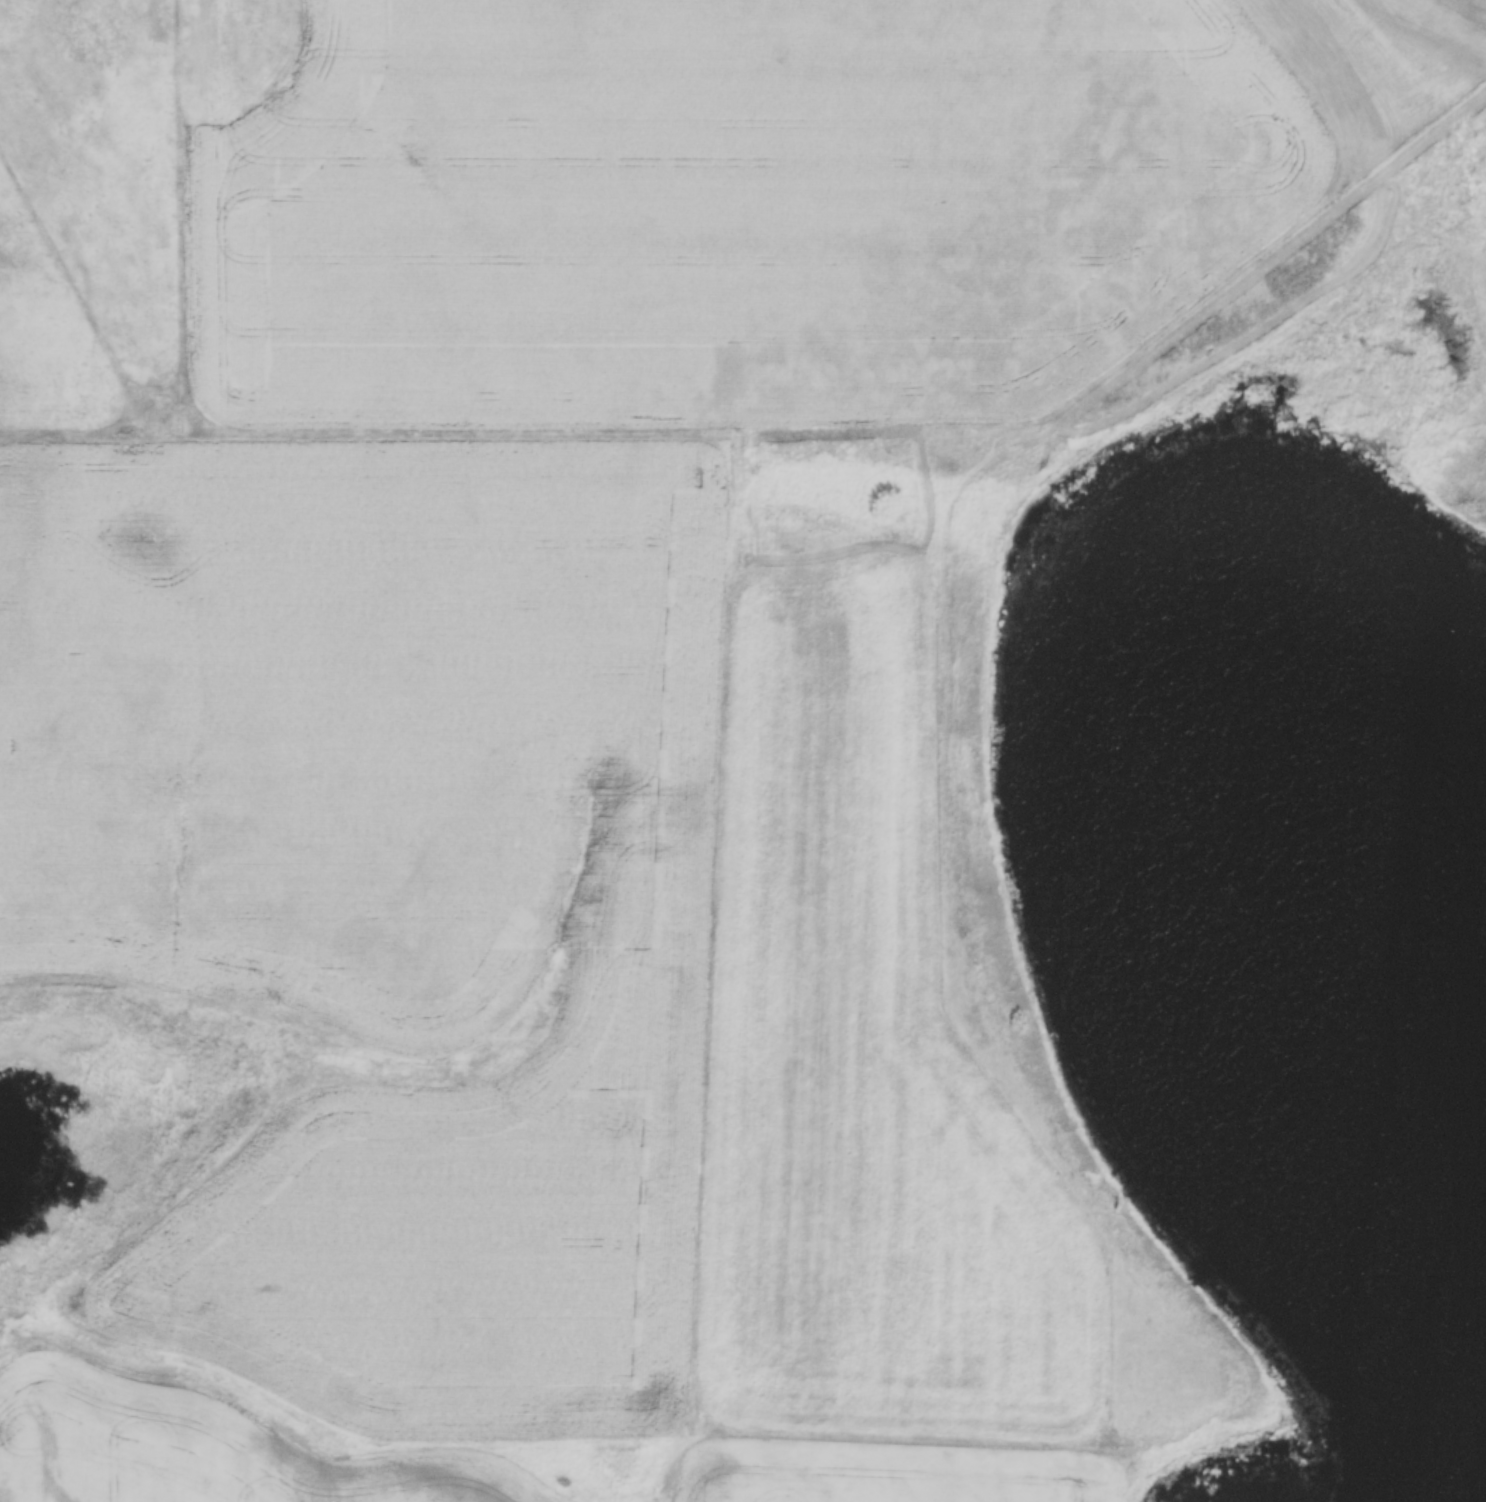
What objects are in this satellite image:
crop: (760, 199)
crop: (861, 1061)

